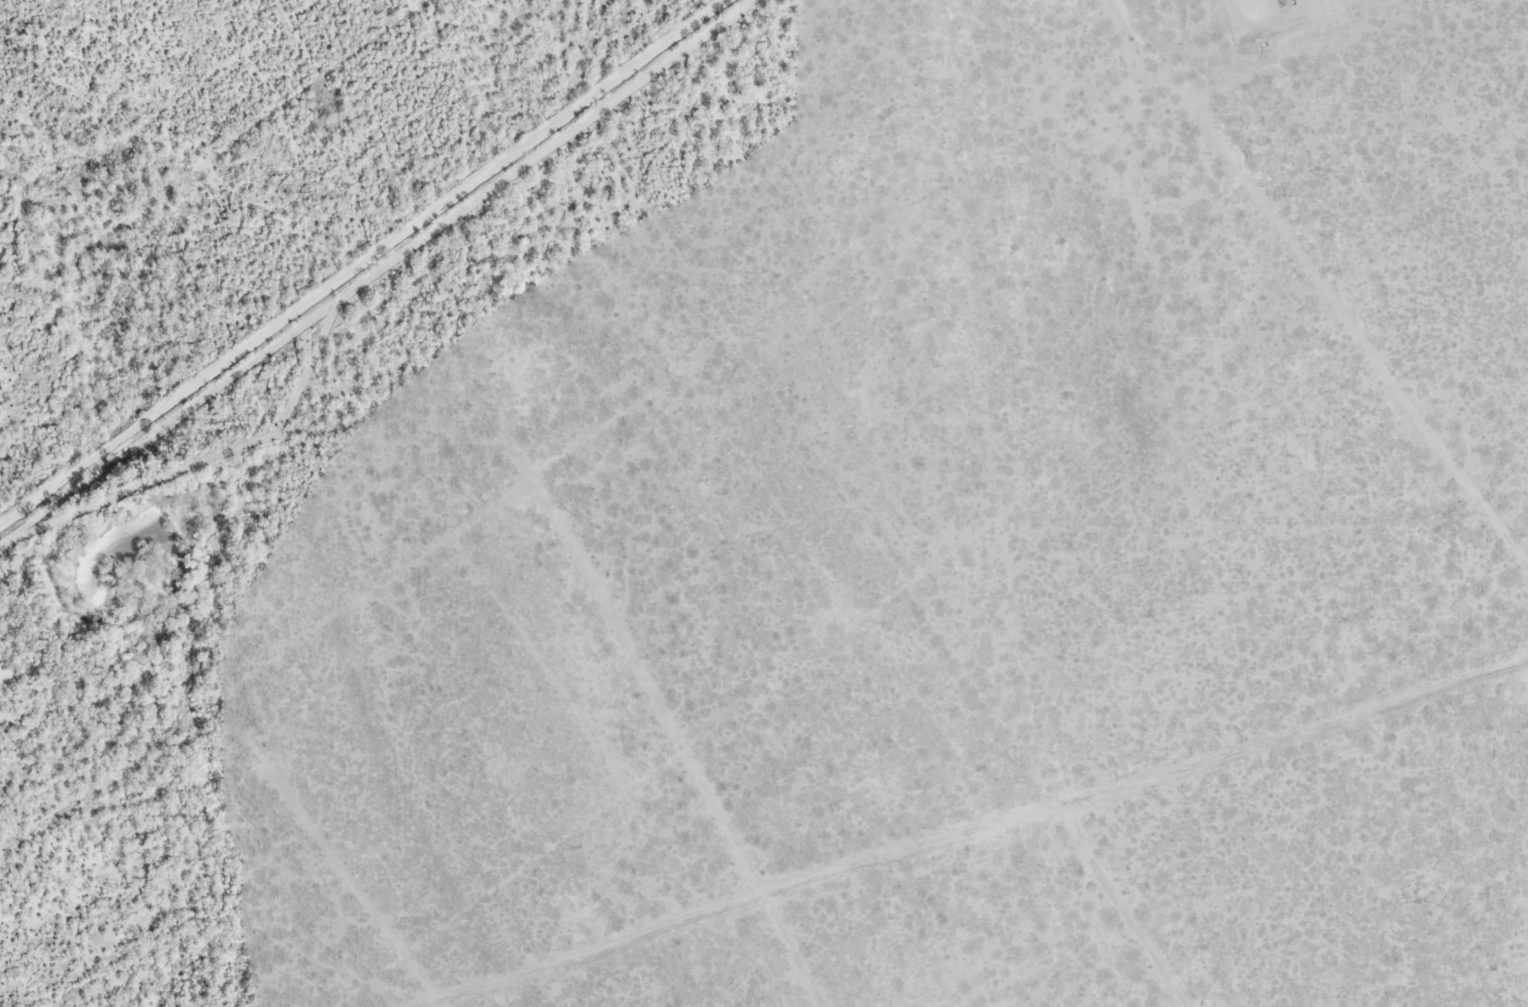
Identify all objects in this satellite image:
road: (969, 835)
road: (1239, 895)

